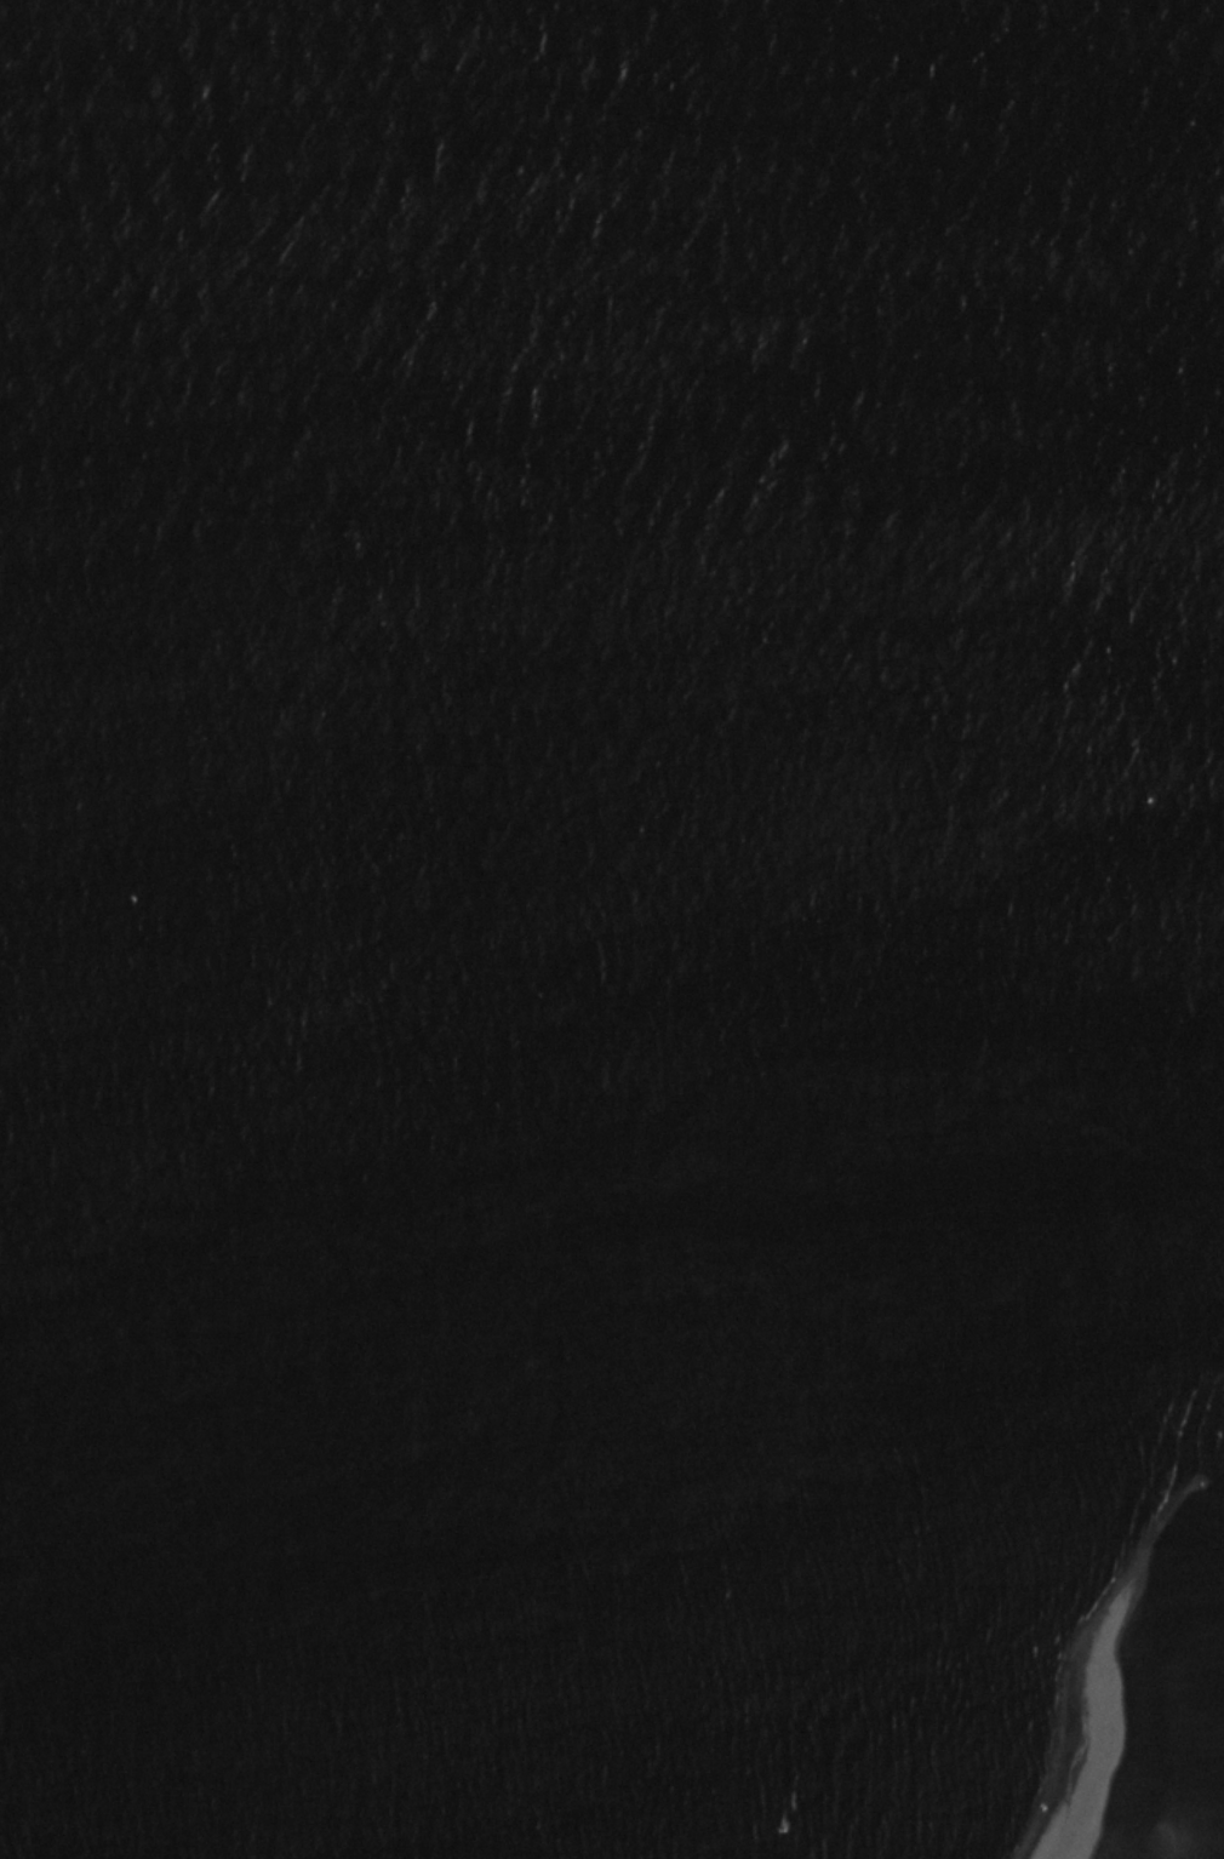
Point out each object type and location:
river: (612, 1255)

